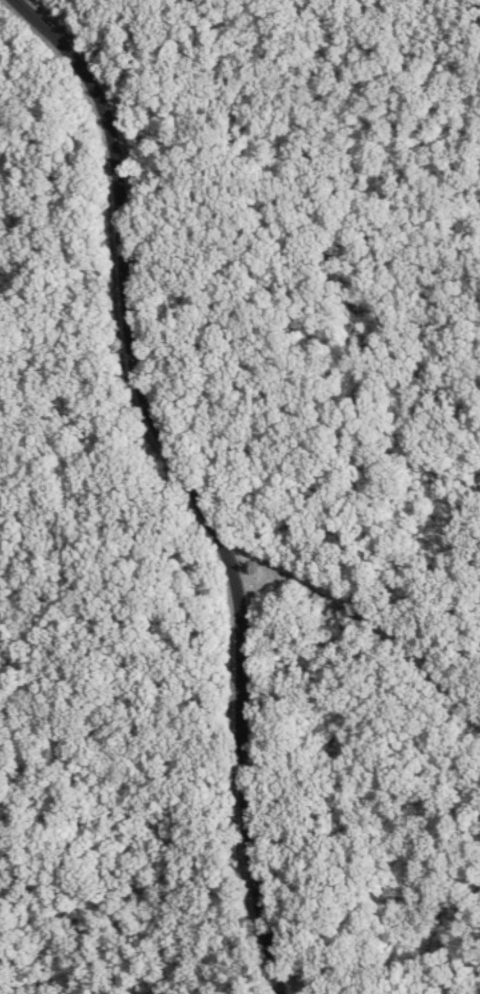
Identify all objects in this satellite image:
road: (193, 477)
road: (365, 620)

